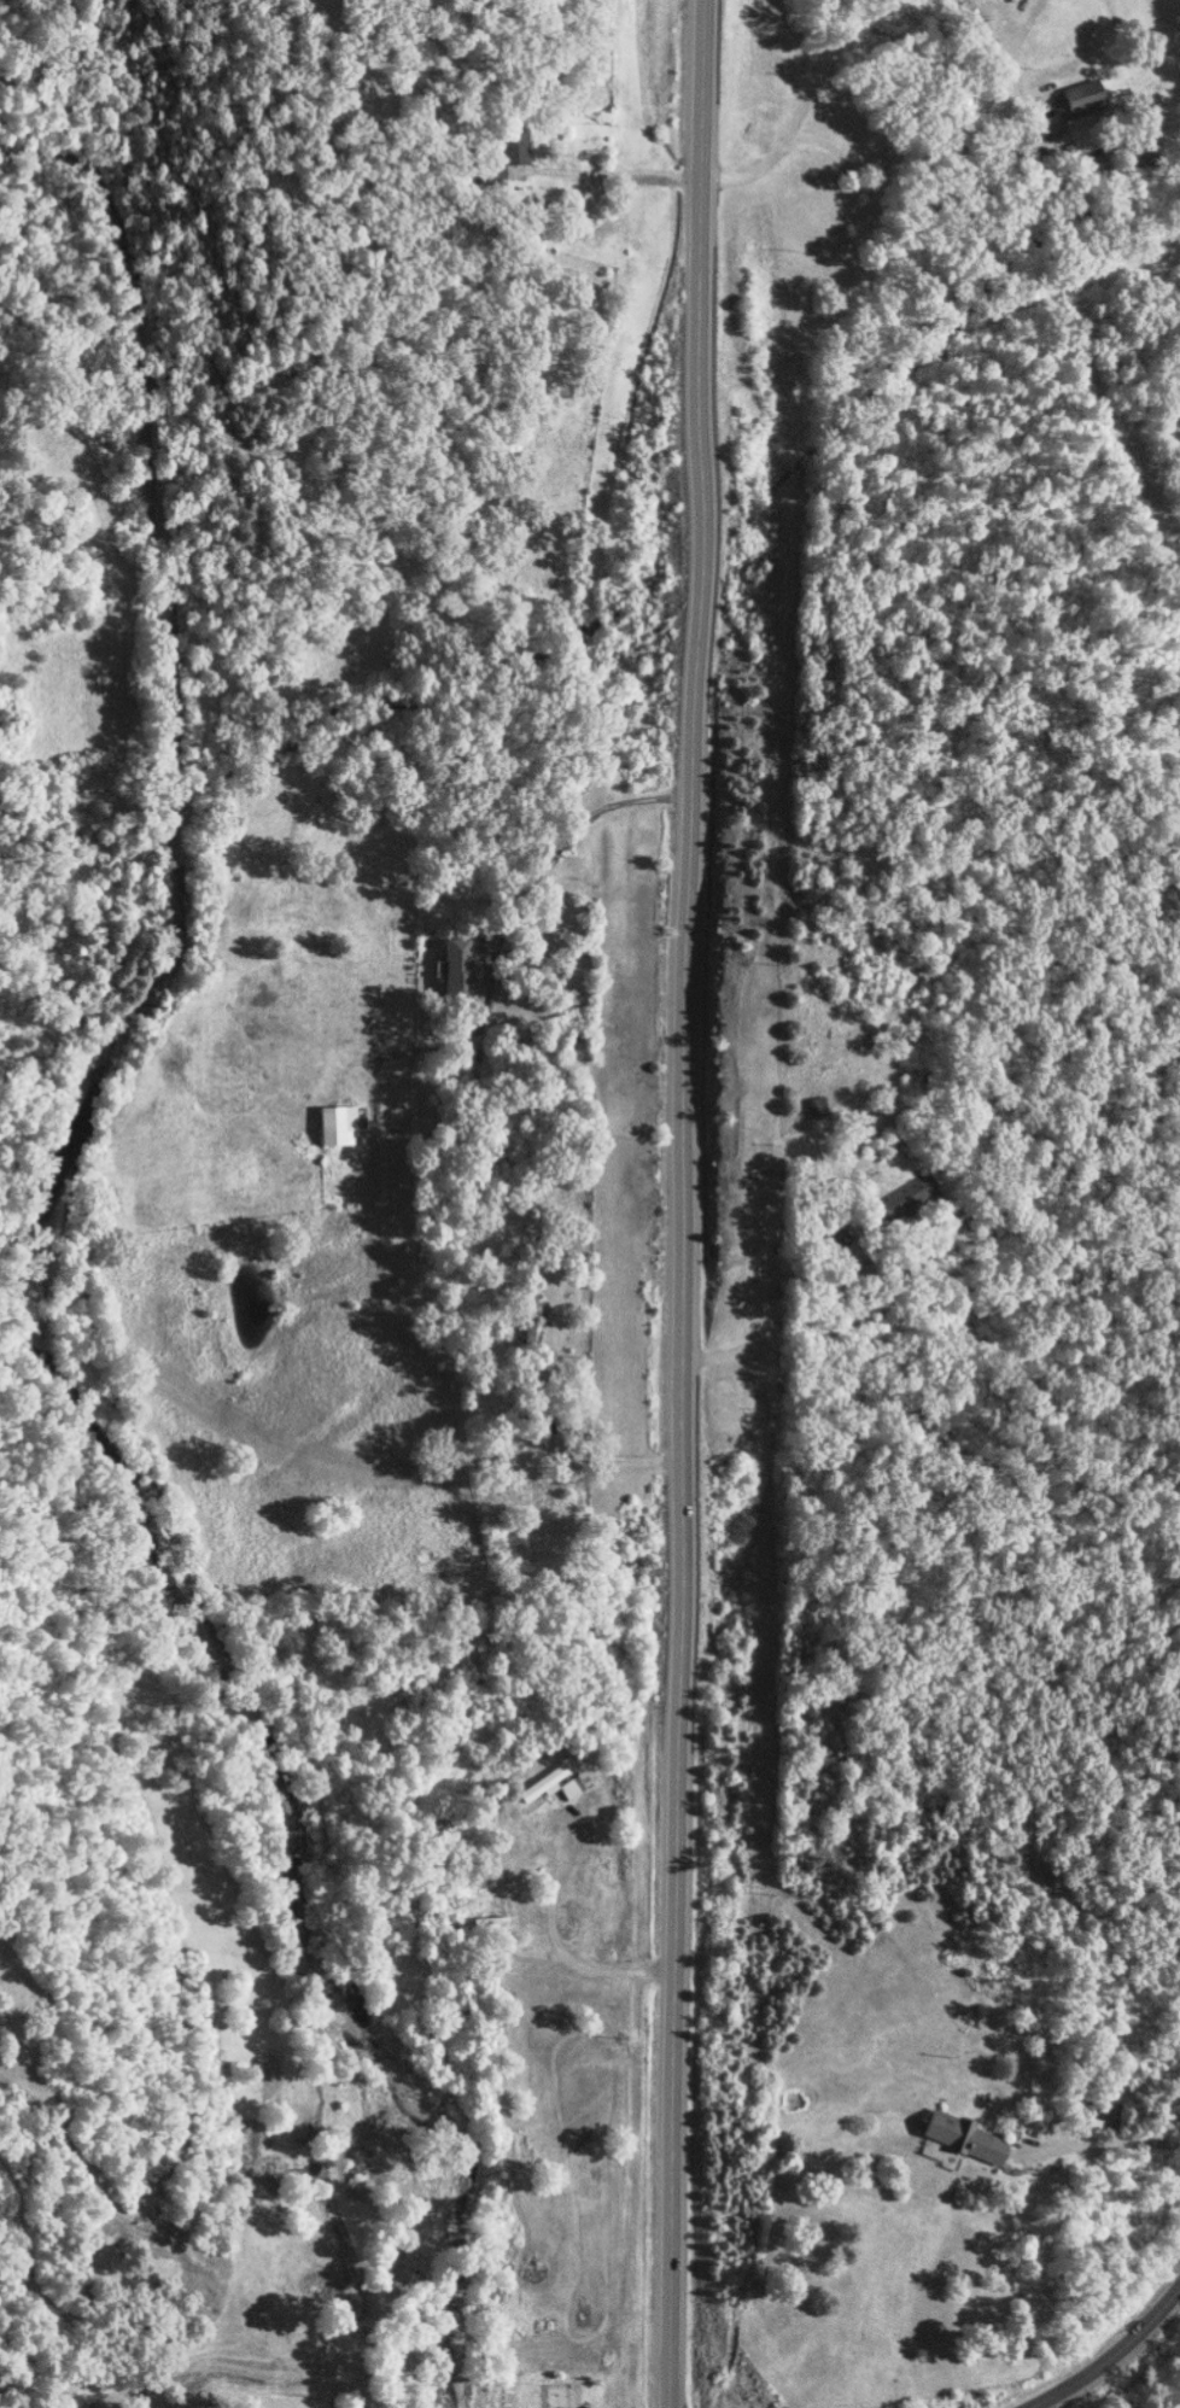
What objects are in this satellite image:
building: (1080, 98)
building: (509, 156)
building: (457, 968)
building: (818, 1106)
building: (339, 1123)
building: (909, 1194)
road: (684, 1203)
building: (833, 1238)
building: (534, 1321)
building: (553, 1783)
building: (496, 1892)
building: (957, 2134)
road: (1102, 2141)
road: (1108, 2353)

